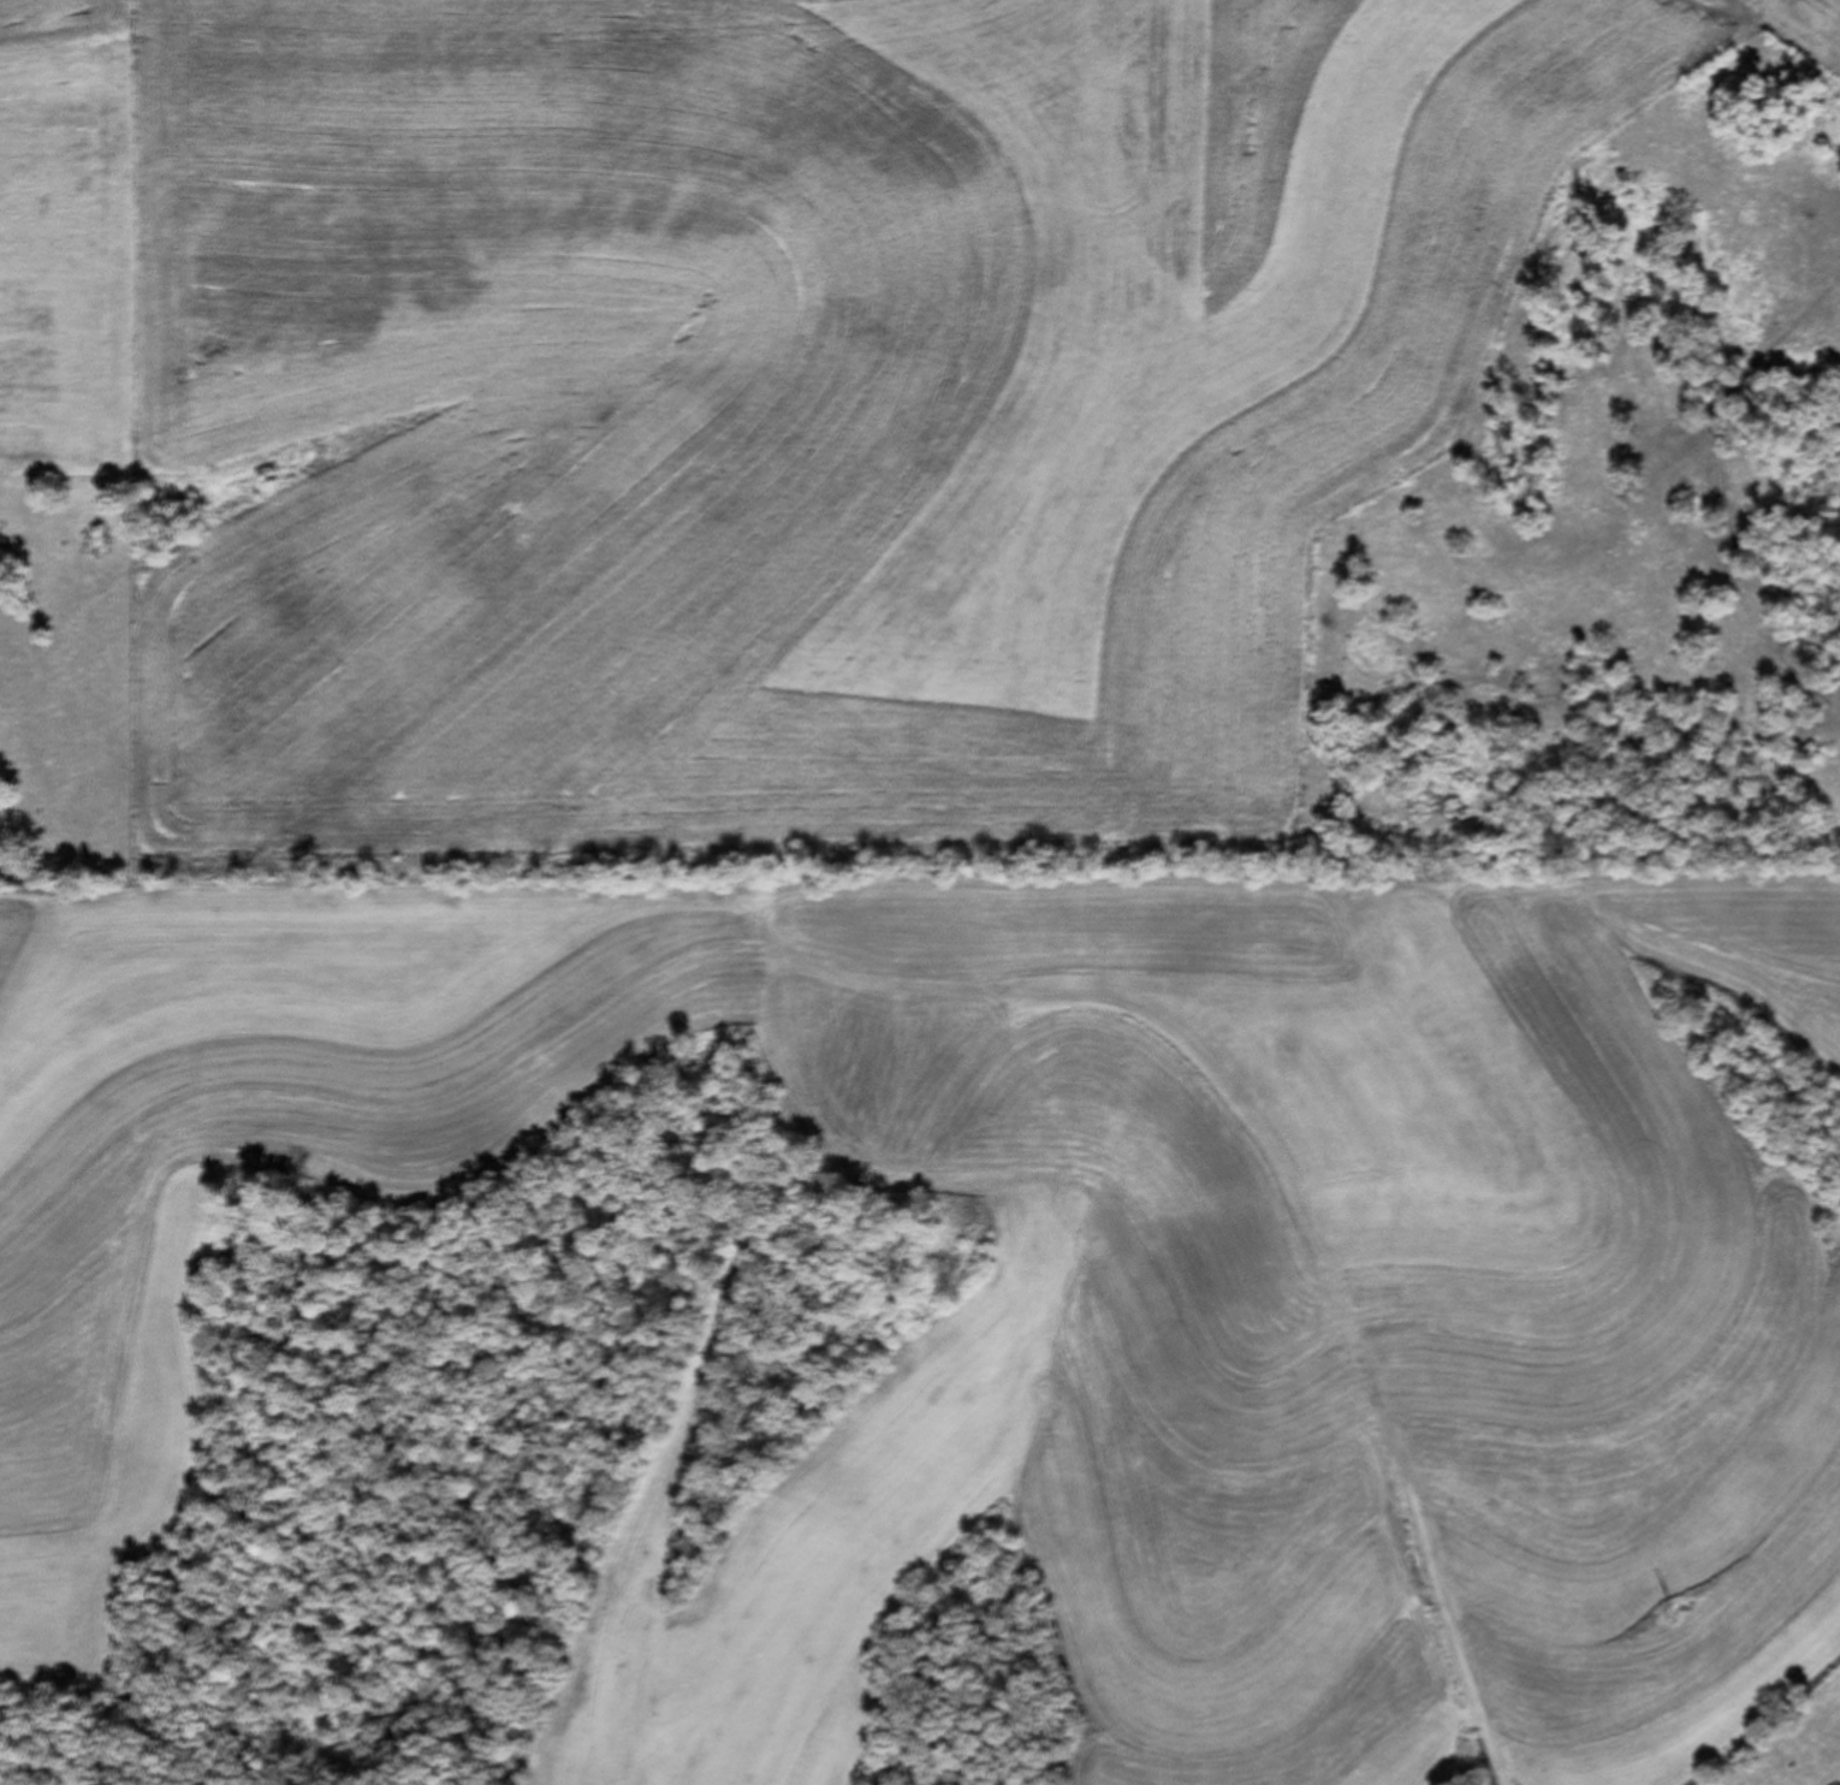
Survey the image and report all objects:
power tower: (1672, 1613)
building: (1833, 1784)

